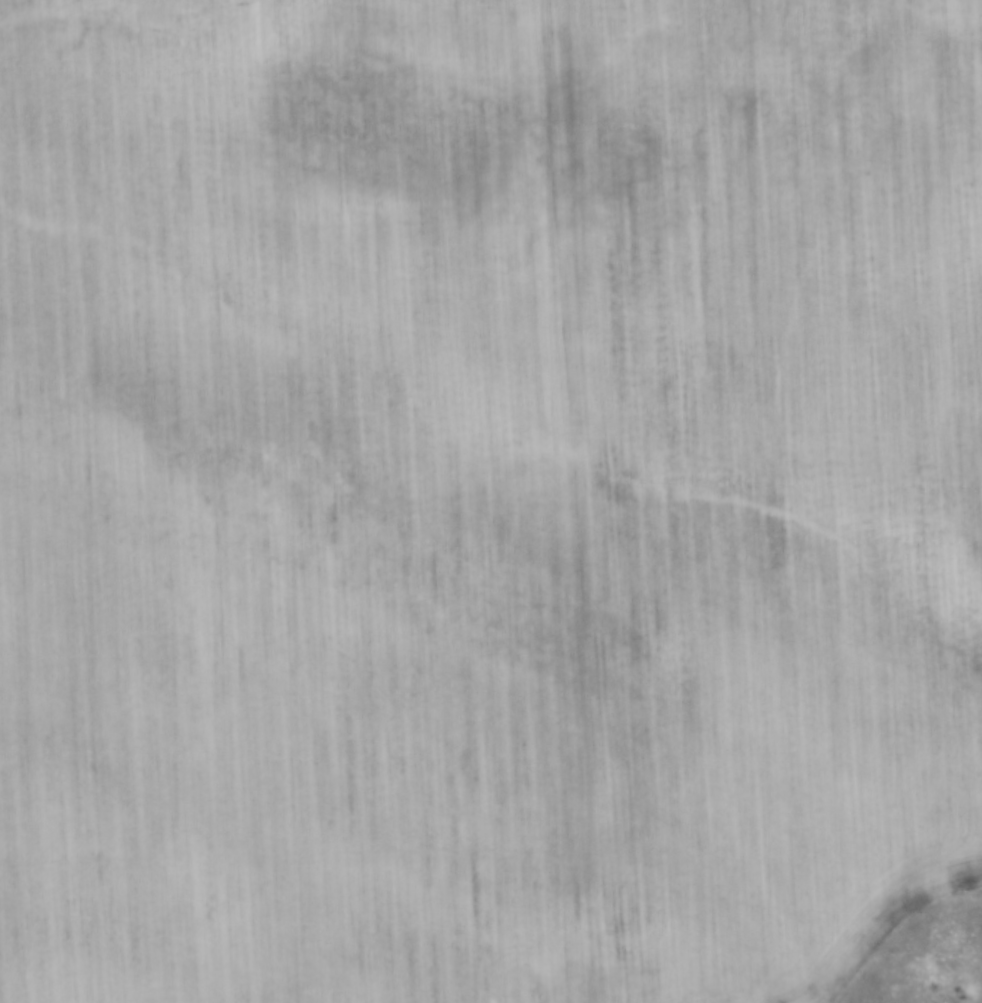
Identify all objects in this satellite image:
road: (775, 501)

